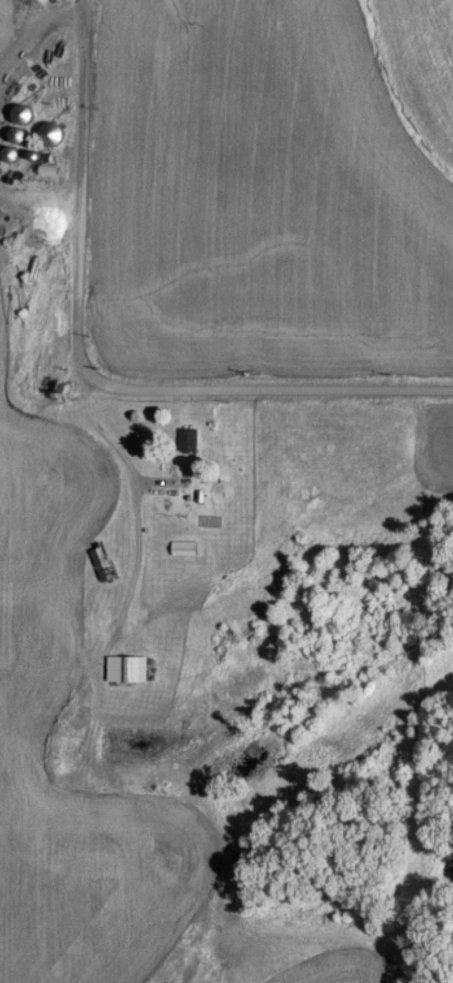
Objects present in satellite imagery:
road: (35, 26)
road: (74, 189)
road: (36, 199)
road: (268, 389)
building: (185, 439)

